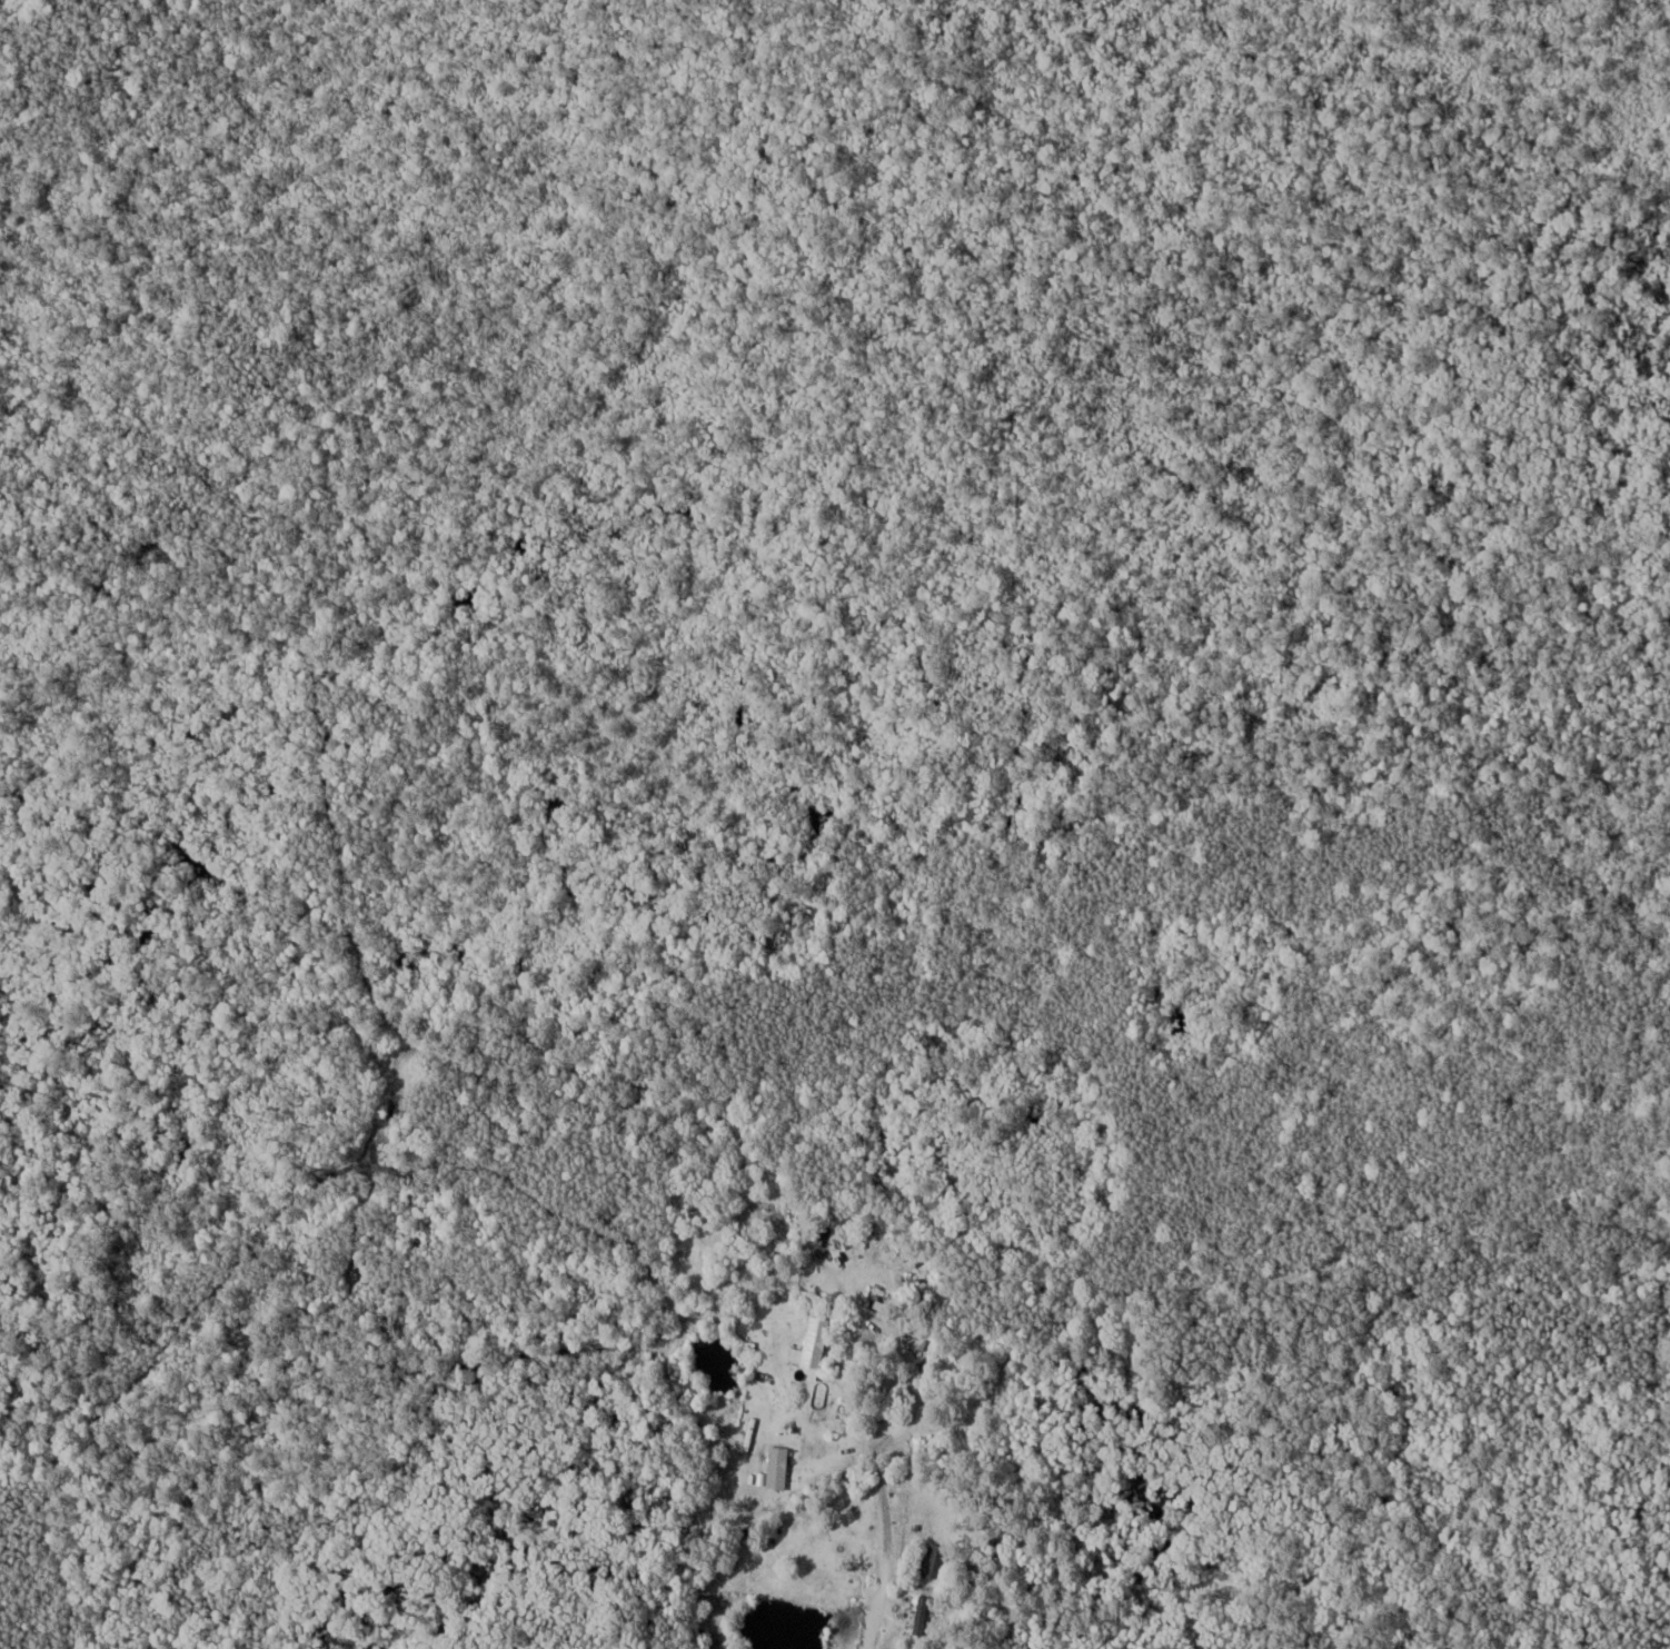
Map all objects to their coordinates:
building: (816, 1340)
road: (1668, 1412)
building: (778, 1466)
road: (895, 1478)
building: (935, 1559)
building: (921, 1613)

